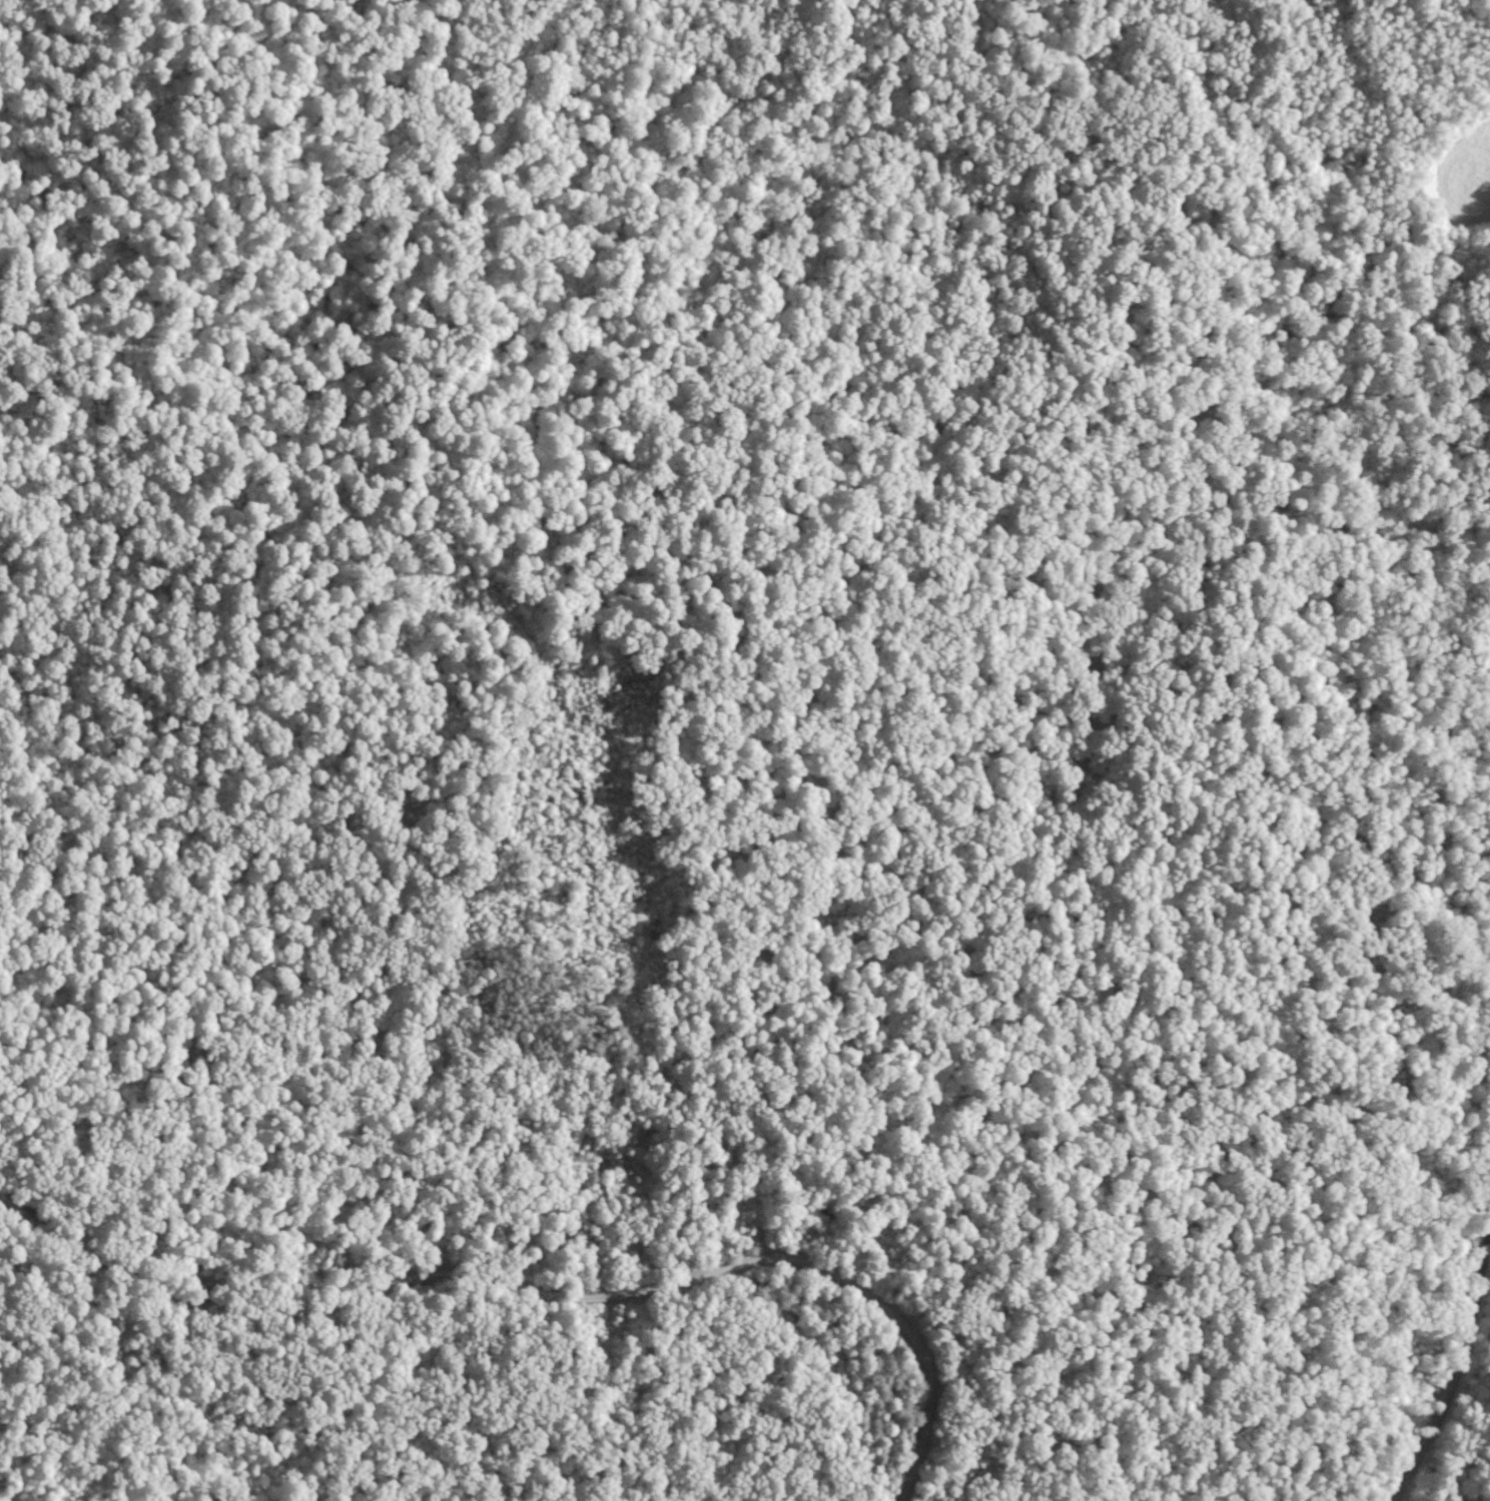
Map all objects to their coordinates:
road: (536, 1295)
road: (1454, 1371)

